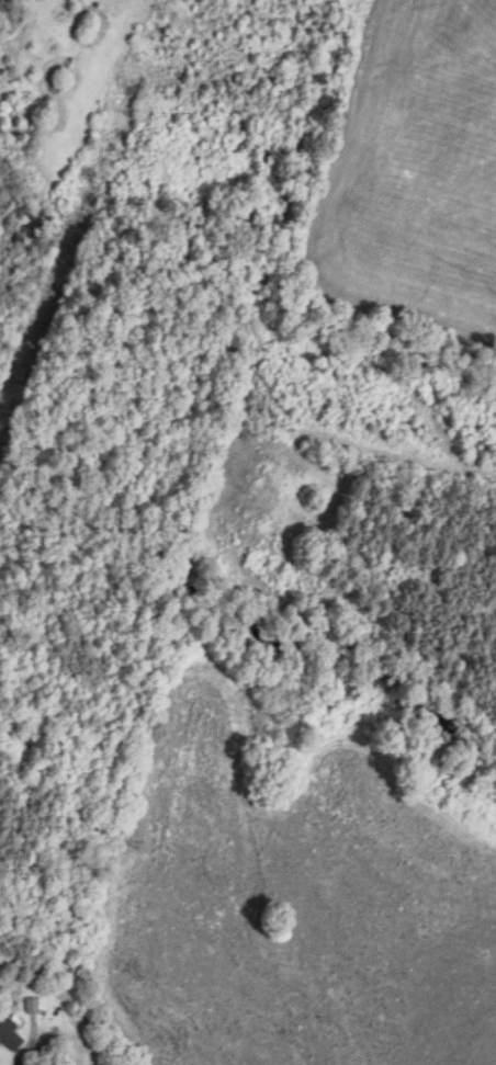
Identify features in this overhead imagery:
building: (11, 1035)

